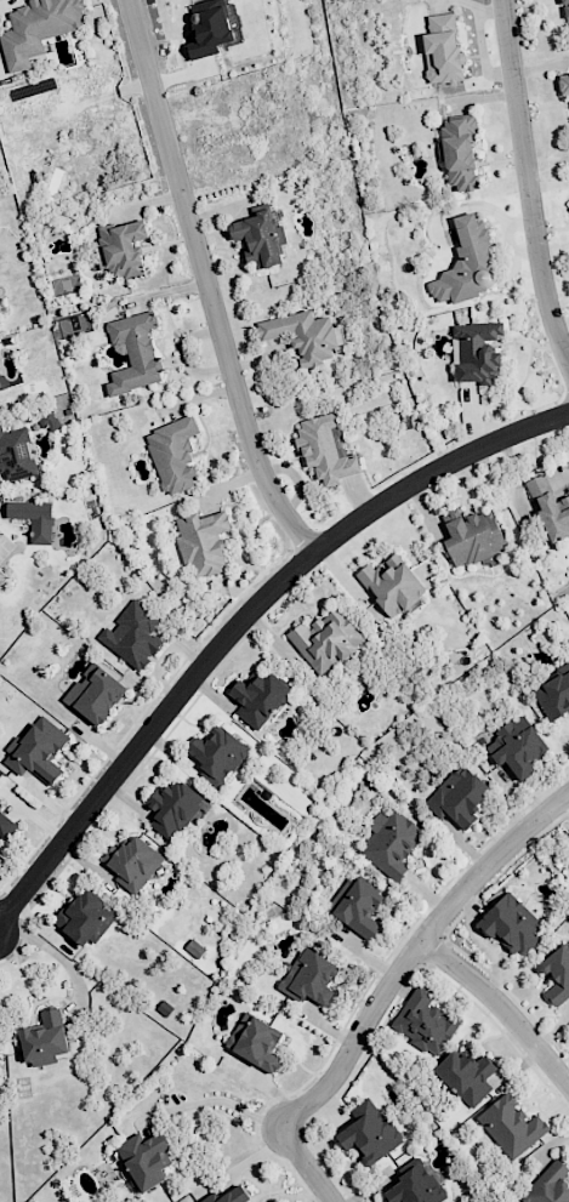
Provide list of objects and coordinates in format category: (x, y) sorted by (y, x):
building: (565, 11)
building: (38, 28)
building: (209, 28)
building: (443, 50)
building: (563, 84)
building: (459, 152)
road: (528, 184)
building: (260, 237)
building: (124, 247)
building: (467, 264)
road: (206, 281)
building: (302, 336)
building: (477, 352)
building: (133, 353)
building: (0, 383)
building: (49, 420)
building: (324, 450)
building: (16, 454)
building: (173, 454)
building: (550, 508)
building: (34, 519)
building: (473, 536)
building: (203, 542)
building: (392, 585)
road: (244, 614)
building: (133, 634)
building: (326, 639)
building: (95, 694)
building: (553, 695)
building: (258, 697)
building: (517, 746)
building: (38, 750)
building: (217, 753)
building: (459, 797)
building: (1, 804)
building: (173, 809)
building: (6, 826)
building: (568, 833)
building: (391, 842)
building: (133, 862)
building: (359, 908)
building: (86, 917)
building: (512, 924)
building: (195, 949)
building: (557, 975)
building: (309, 978)
road: (387, 989)
road: (502, 1006)
building: (425, 1021)
building: (45, 1039)
building: (255, 1042)
building: (466, 1076)
road: (222, 1103)
building: (511, 1126)
building: (369, 1132)
building: (146, 1160)
building: (417, 1183)
building: (548, 1185)
building: (228, 1195)

